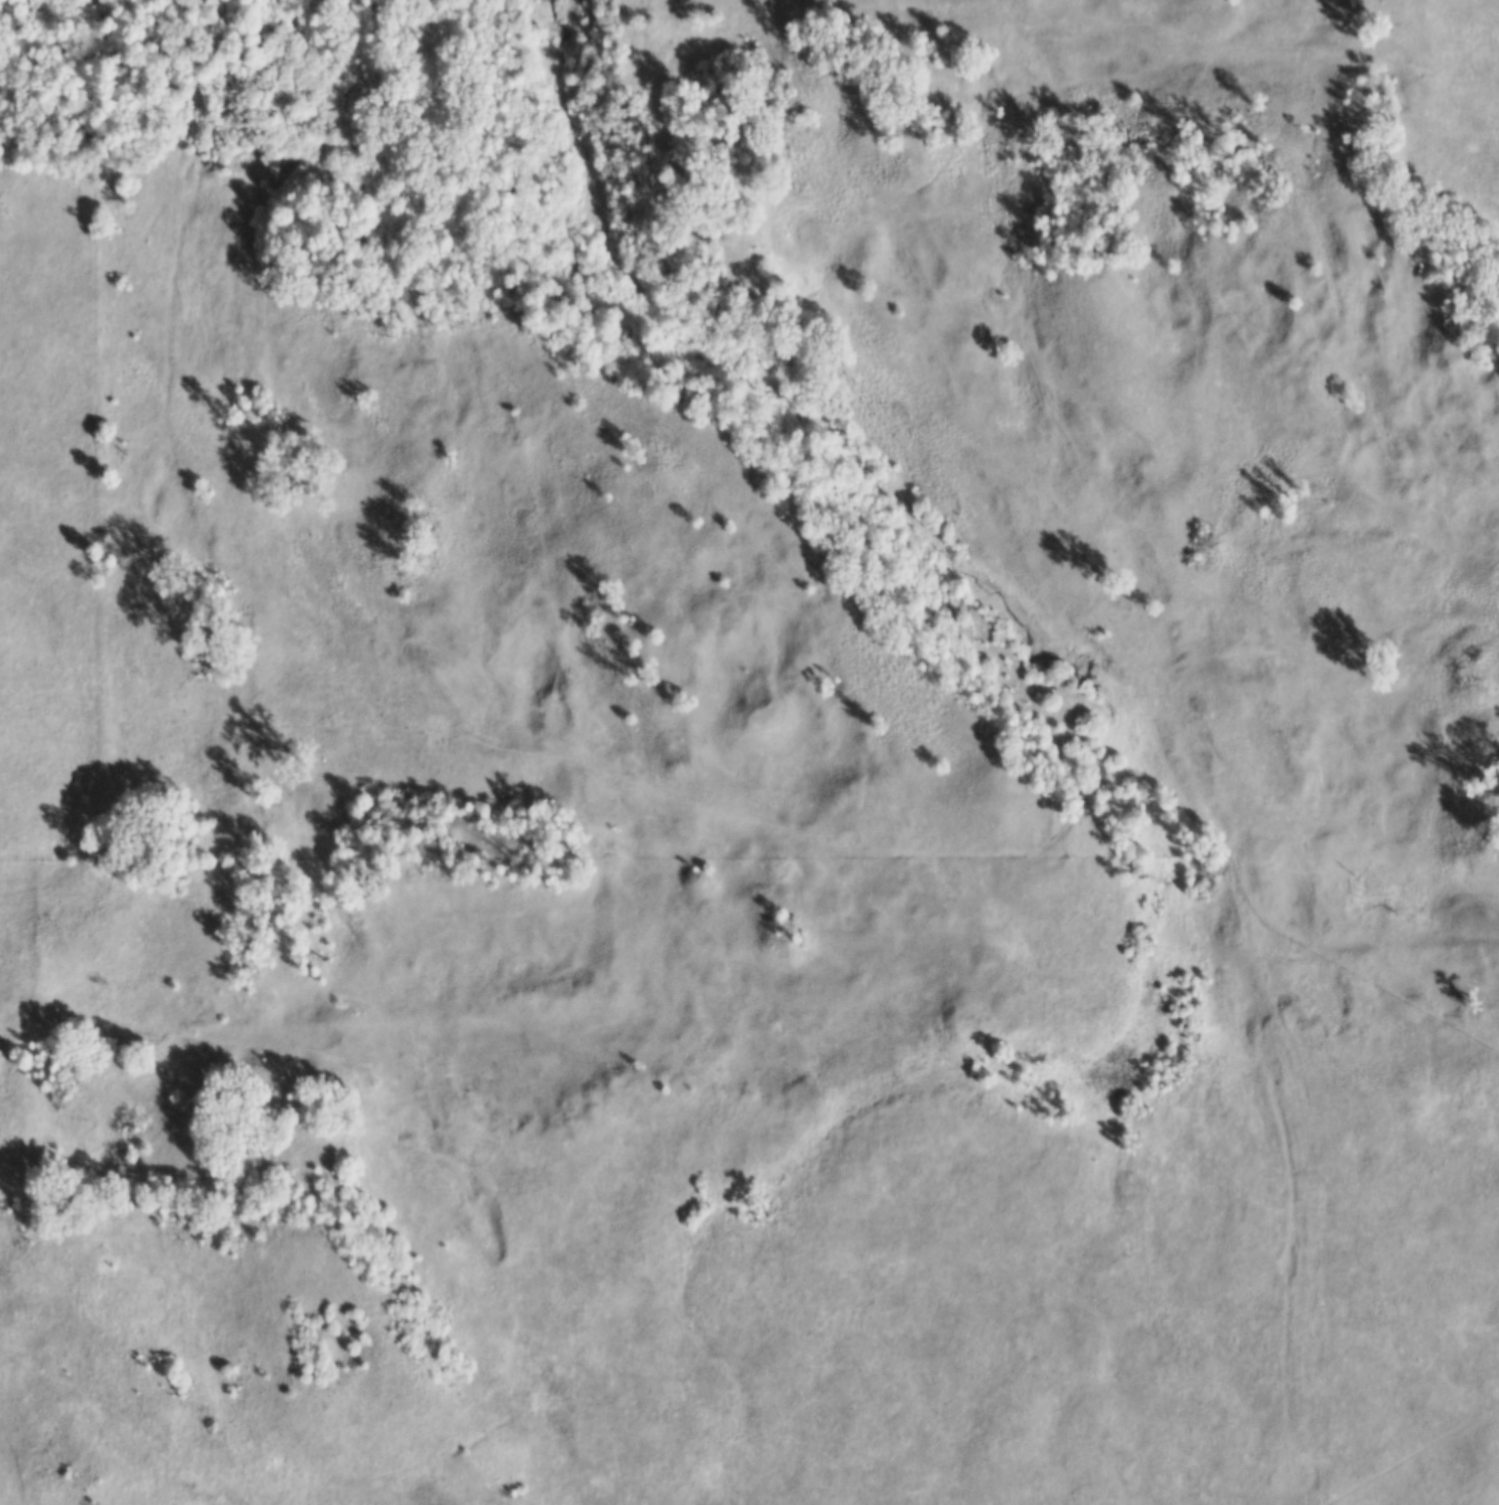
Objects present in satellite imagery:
road: (1412, 1455)

